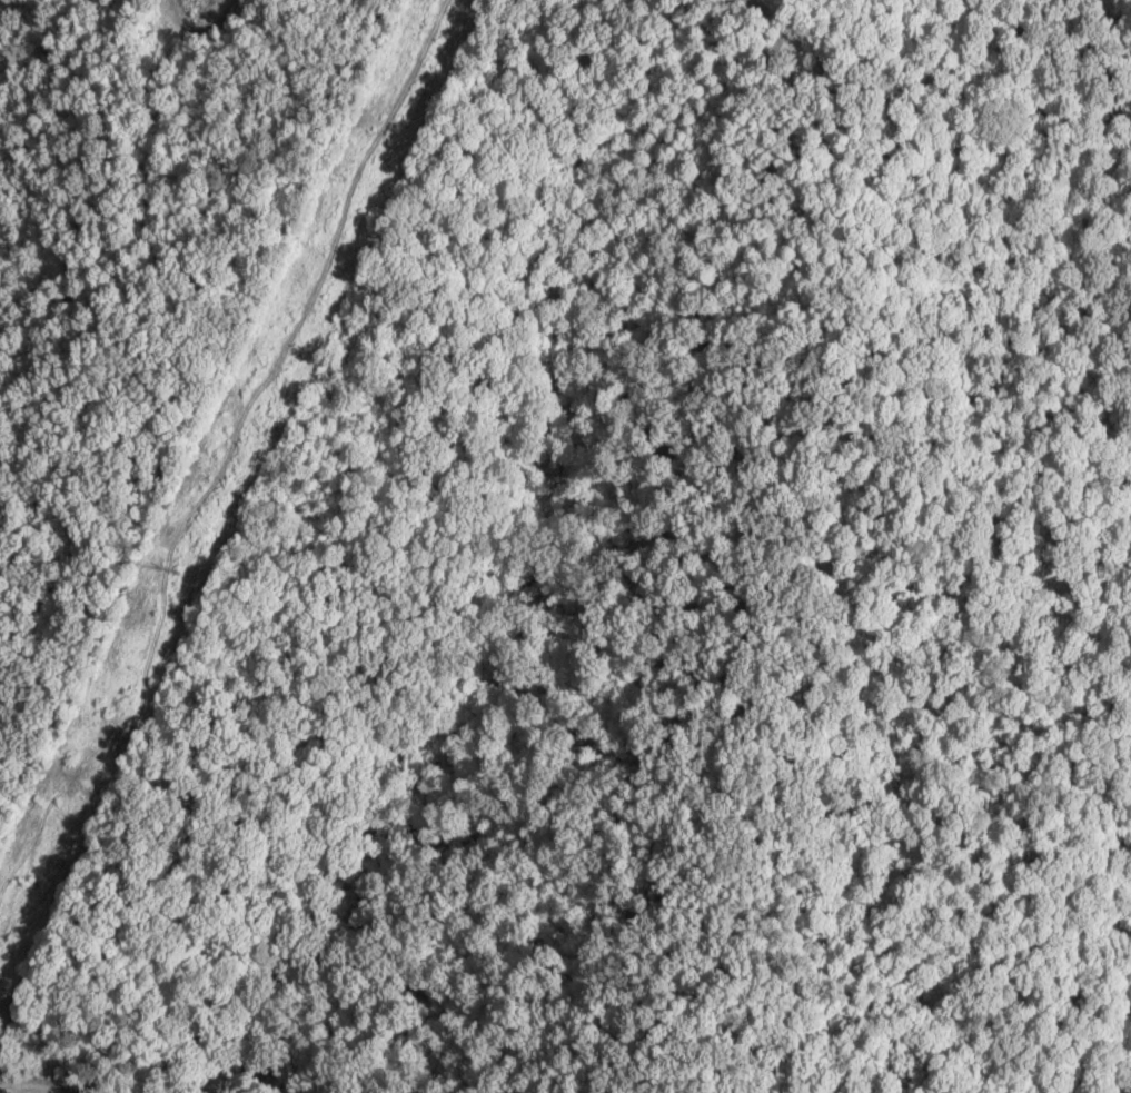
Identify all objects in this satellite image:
power tower: (157, 575)
building: (2, 1091)

